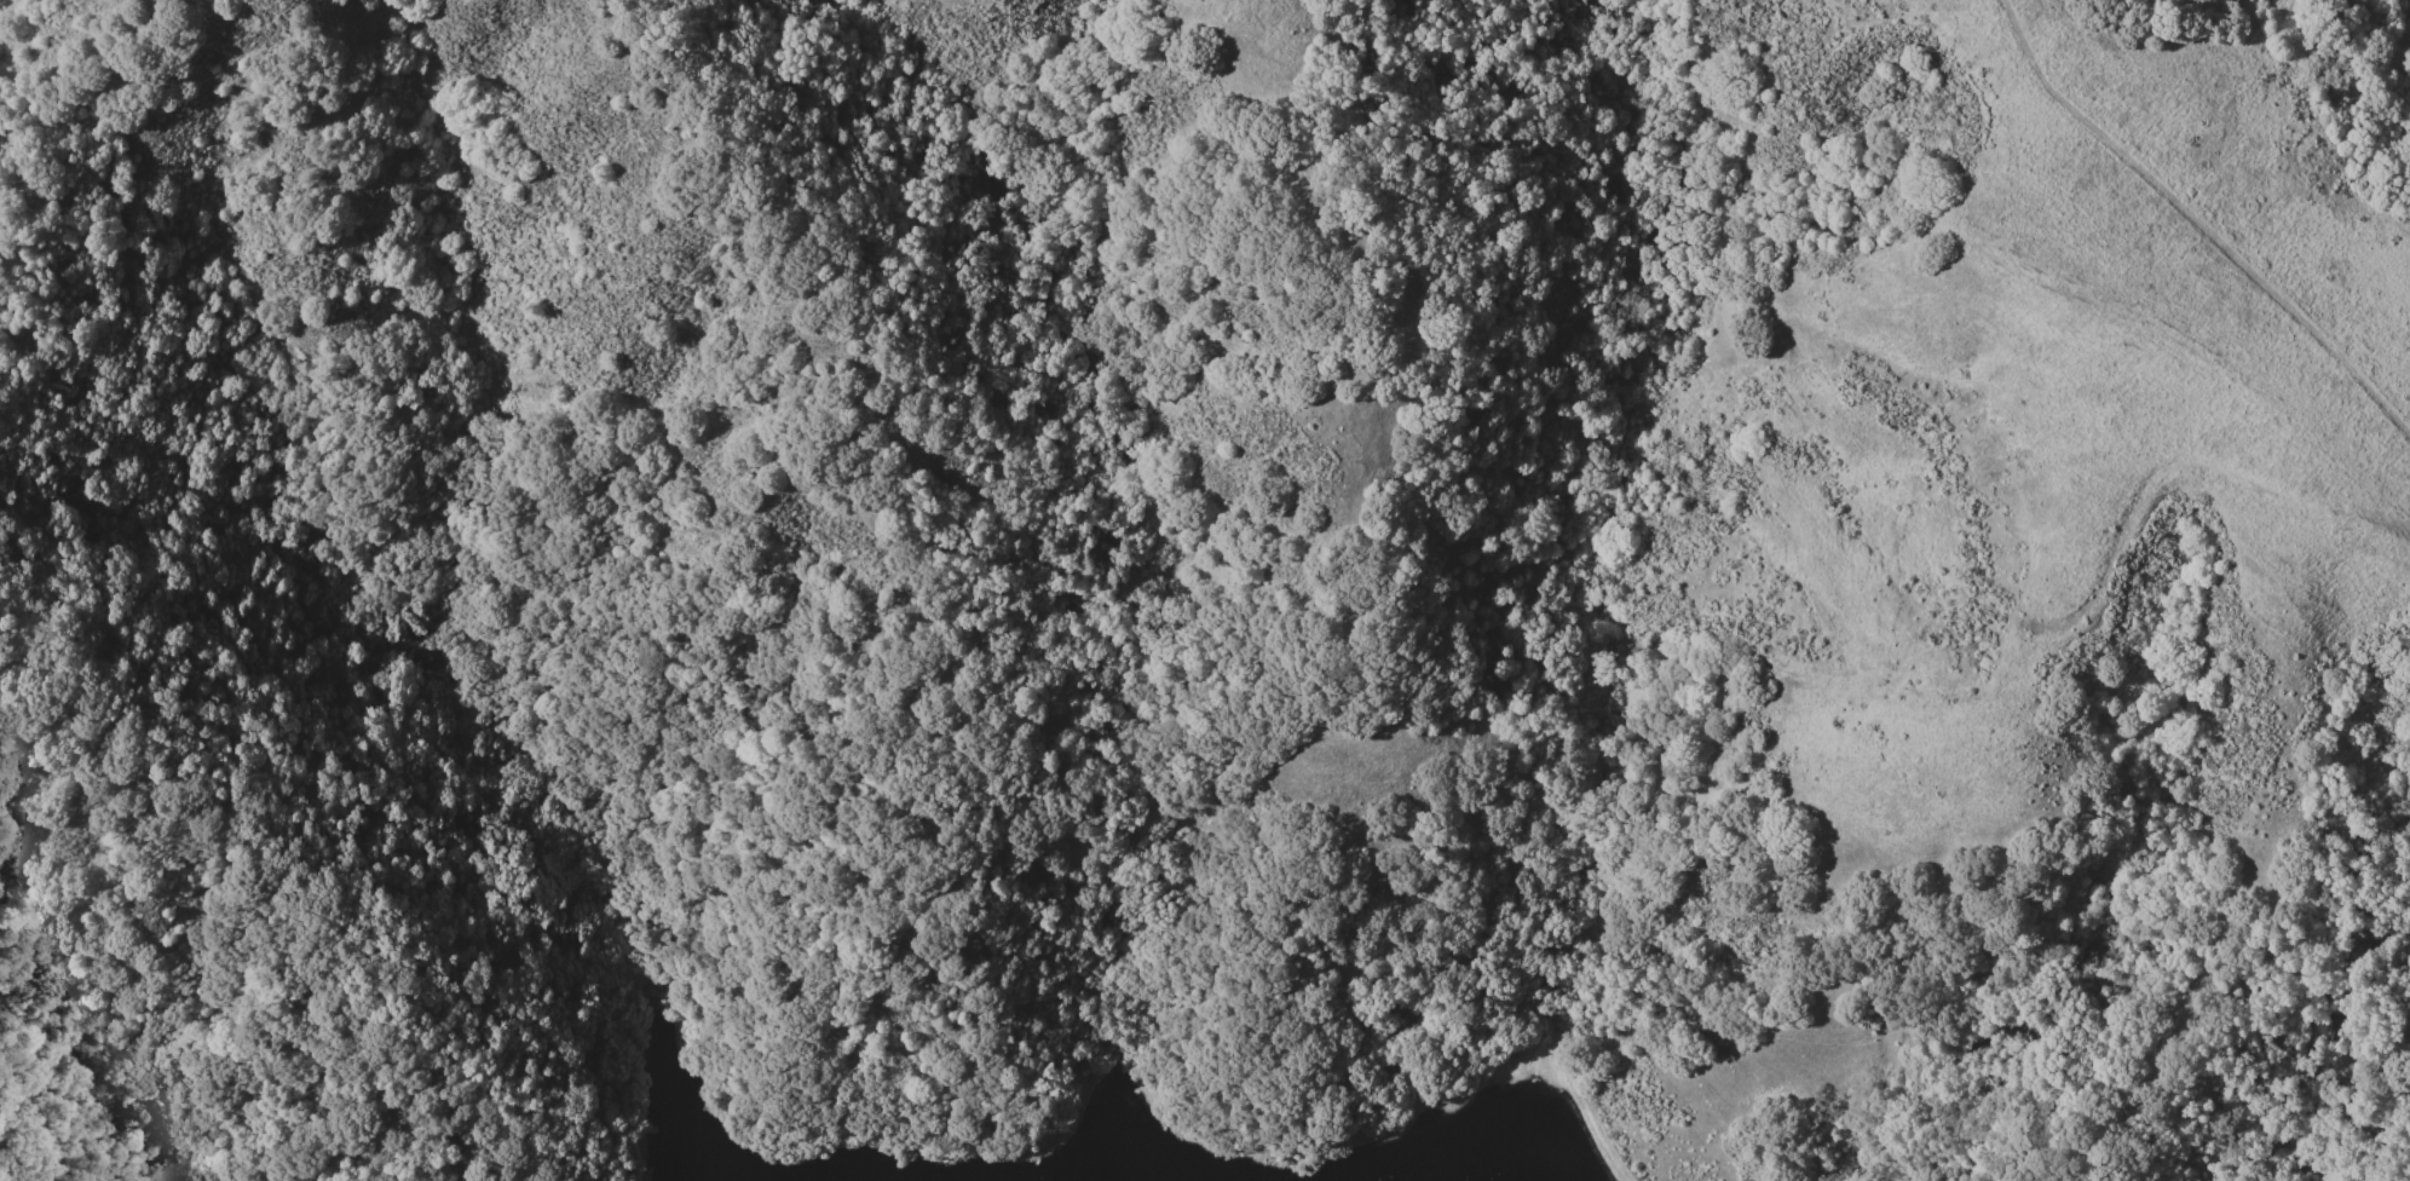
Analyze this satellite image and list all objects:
road: (2199, 227)

